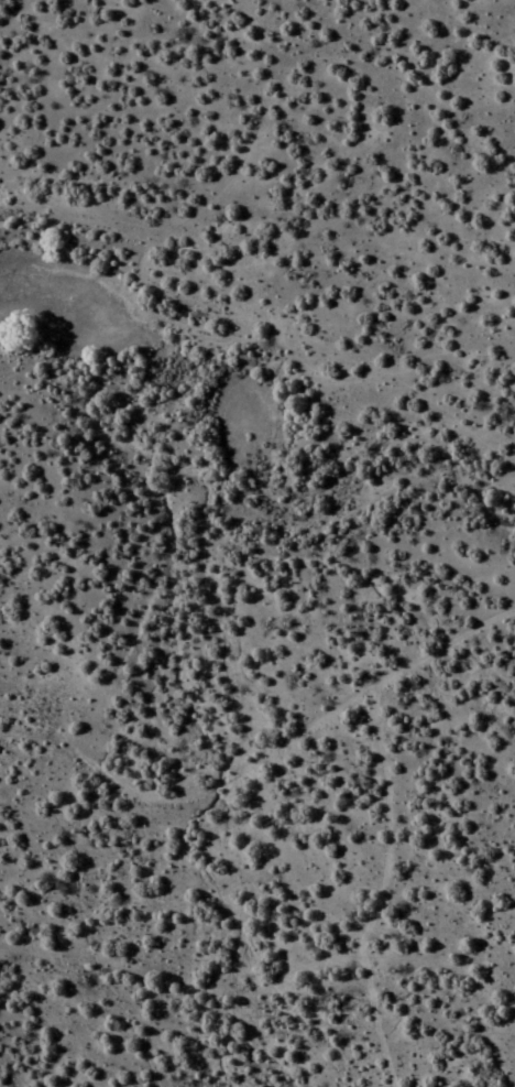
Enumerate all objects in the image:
road: (271, 764)

